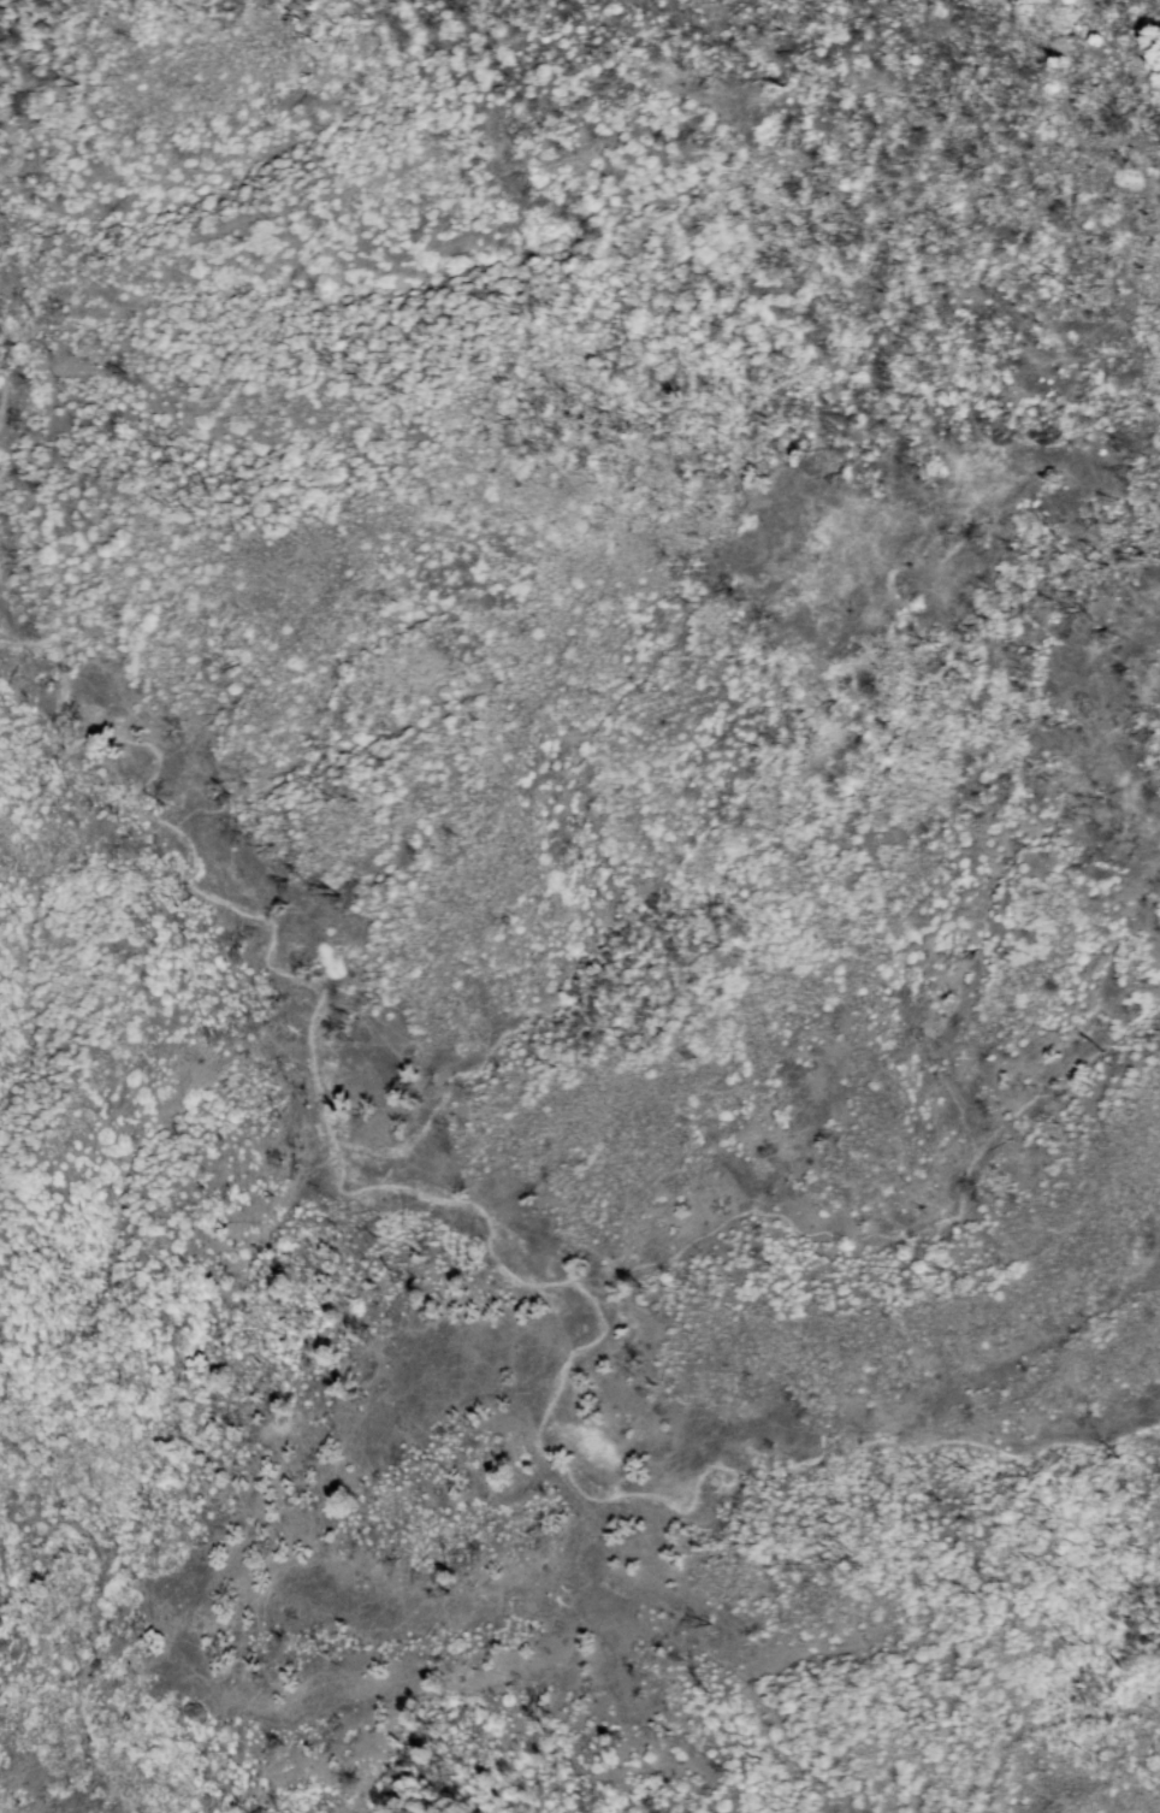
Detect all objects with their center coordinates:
road: (1052, 1726)

